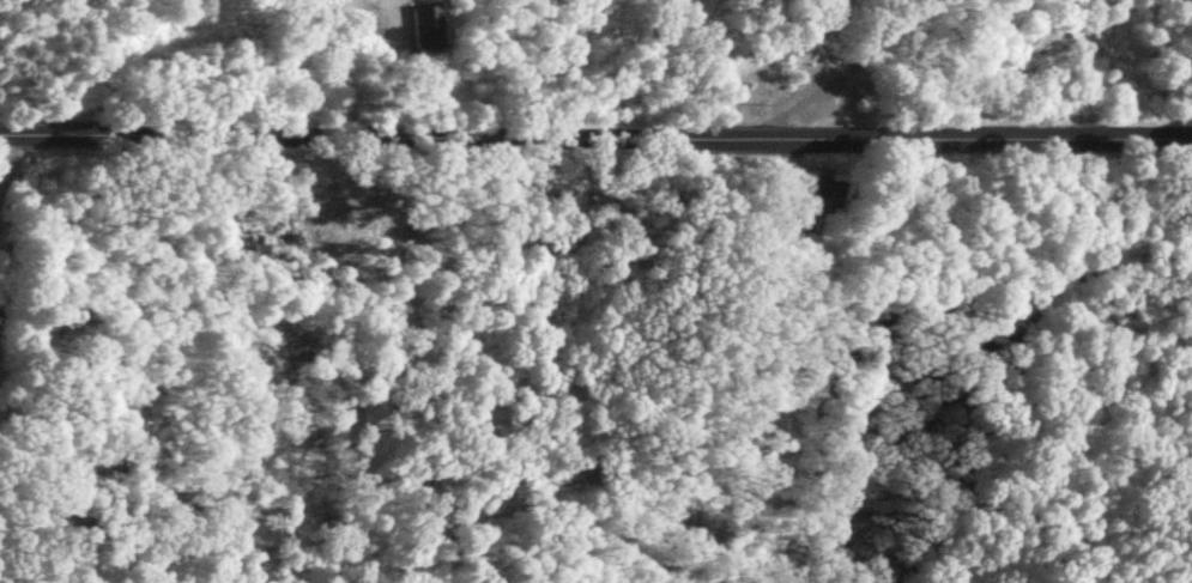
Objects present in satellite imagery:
building: (426, 24)
road: (836, 78)
road: (595, 135)

